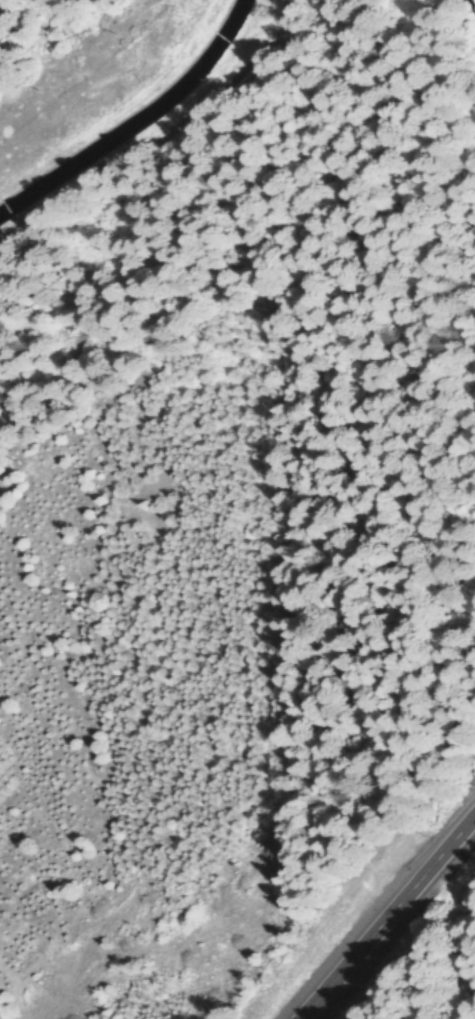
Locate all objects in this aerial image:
road: (387, 918)

